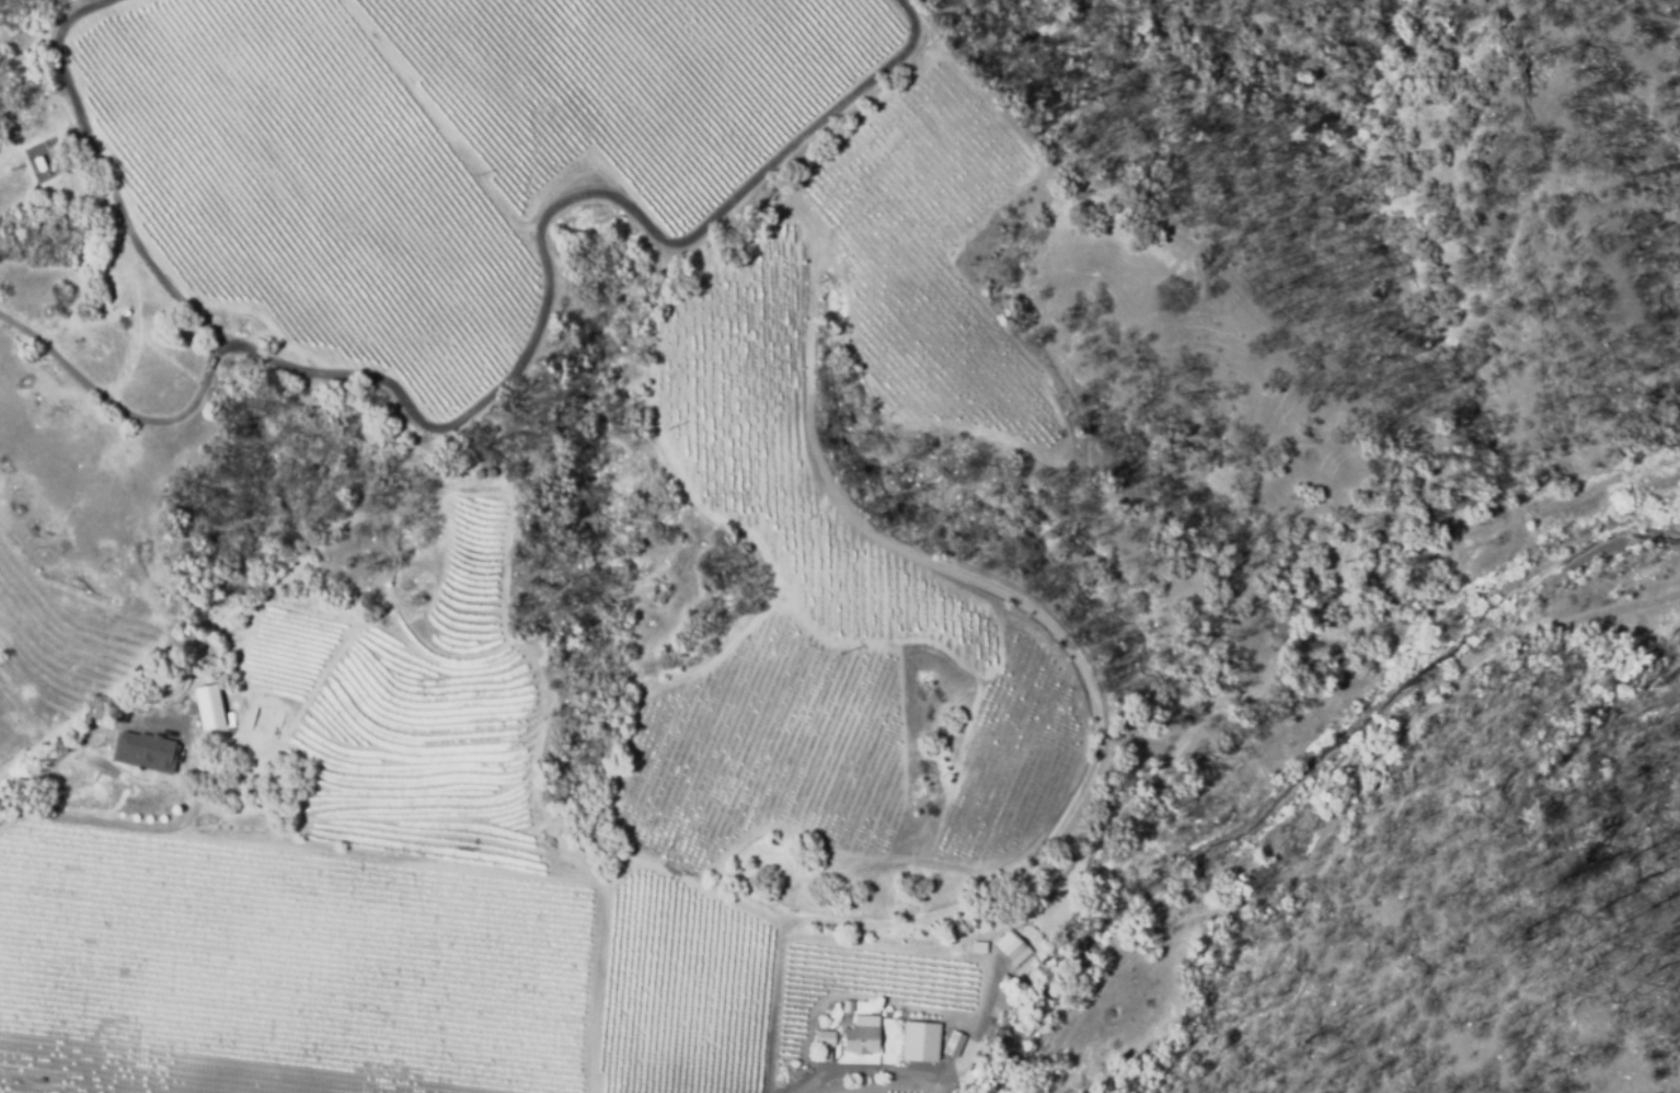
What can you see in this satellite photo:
building: (38, 162)
building: (488, 471)
building: (476, 472)
building: (267, 717)
building: (148, 749)
building: (260, 749)
road: (198, 763)
building: (979, 948)
building: (1012, 948)
building: (1006, 982)
building: (848, 1008)
building: (919, 1036)
building: (859, 1038)
building: (825, 1039)
building: (954, 1045)
road: (930, 1075)
building: (969, 1080)
building: (41, 1081)
building: (958, 1092)

